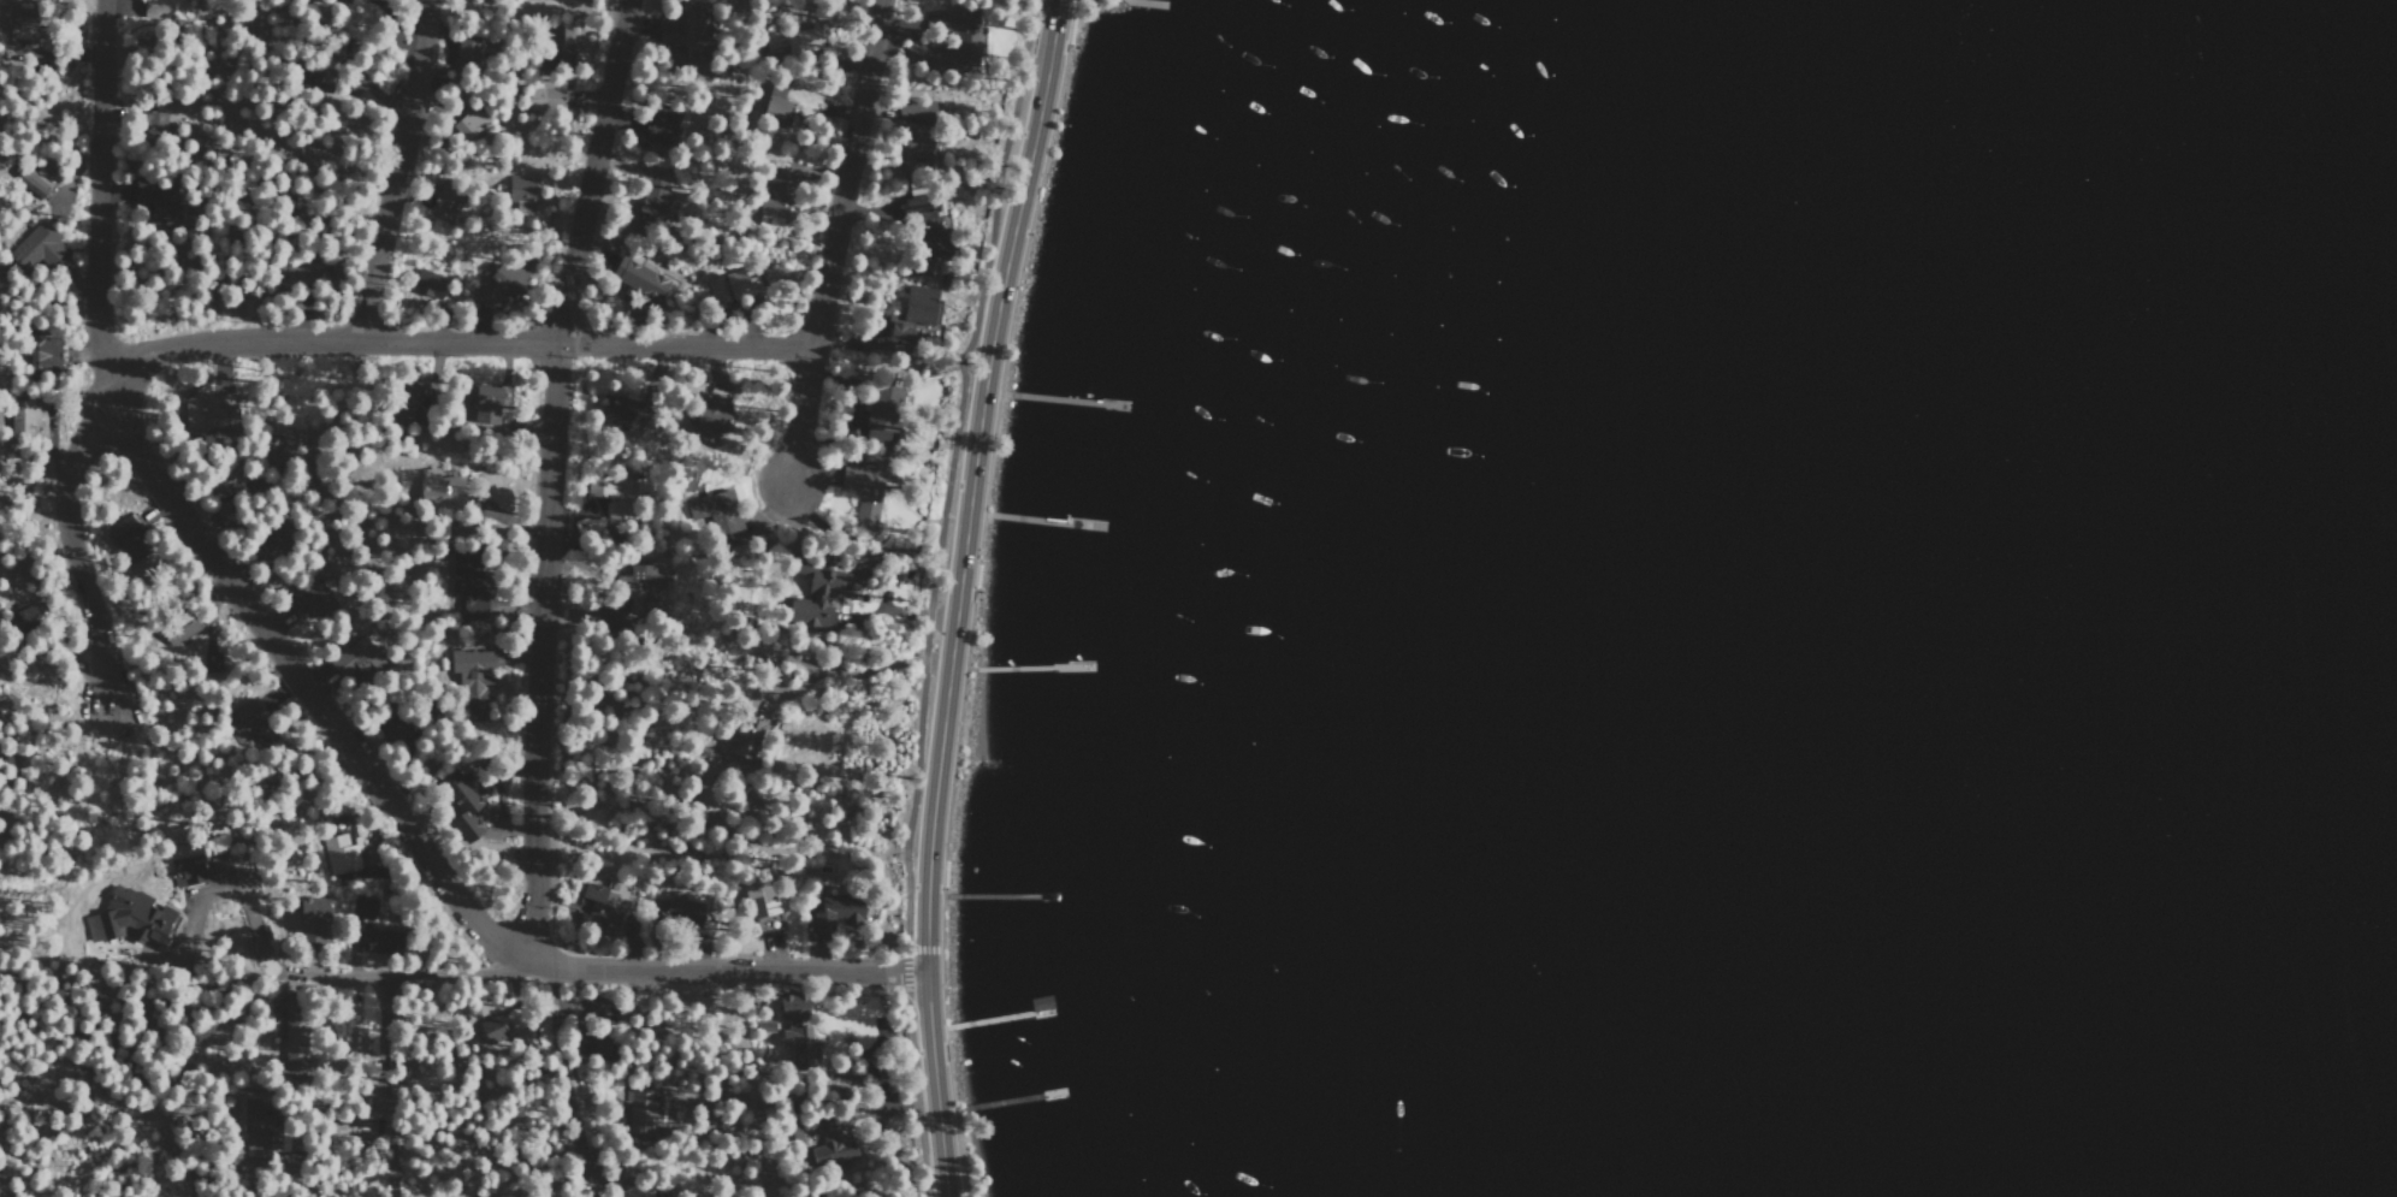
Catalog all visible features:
building: (342, 1)
building: (160, 10)
building: (12, 18)
building: (677, 30)
building: (965, 38)
building: (560, 43)
building: (464, 51)
building: (544, 97)
building: (773, 105)
building: (916, 107)
building: (150, 123)
building: (466, 124)
building: (659, 124)
building: (913, 146)
road: (397, 171)
building: (35, 178)
building: (521, 192)
building: (652, 196)
building: (154, 200)
building: (439, 205)
building: (922, 226)
road: (828, 242)
building: (36, 248)
building: (298, 273)
building: (635, 282)
building: (427, 283)
building: (498, 286)
building: (732, 288)
building: (912, 313)
road: (284, 340)
building: (43, 351)
building: (406, 395)
pier: (1071, 398)
building: (486, 404)
building: (876, 409)
building: (201, 411)
building: (612, 411)
building: (24, 417)
building: (710, 417)
road: (951, 464)
road: (546, 478)
road: (970, 481)
building: (446, 485)
building: (863, 493)
building: (612, 494)
building: (717, 515)
pier: (1046, 515)
road: (199, 527)
building: (129, 539)
building: (469, 591)
building: (631, 598)
building: (813, 598)
building: (306, 603)
building: (35, 612)
building: (178, 630)
building: (353, 663)
pier: (1035, 663)
building: (472, 674)
building: (248, 722)
building: (745, 739)
building: (461, 806)
building: (341, 849)
building: (188, 871)
pier: (1002, 890)
building: (362, 907)
building: (760, 907)
building: (596, 908)
building: (677, 912)
building: (835, 914)
building: (313, 920)
building: (113, 923)
road: (905, 952)
road: (917, 952)
road: (730, 970)
road: (419, 978)
pier: (1002, 1013)
road: (122, 1014)
building: (762, 1027)
building: (490, 1032)
building: (797, 1032)
building: (294, 1053)
road: (574, 1082)
road: (910, 1083)
road: (934, 1083)
pier: (1012, 1097)
building: (640, 1108)
building: (256, 1128)
building: (794, 1132)
building: (829, 1140)
building: (650, 1196)
building: (828, 1196)

